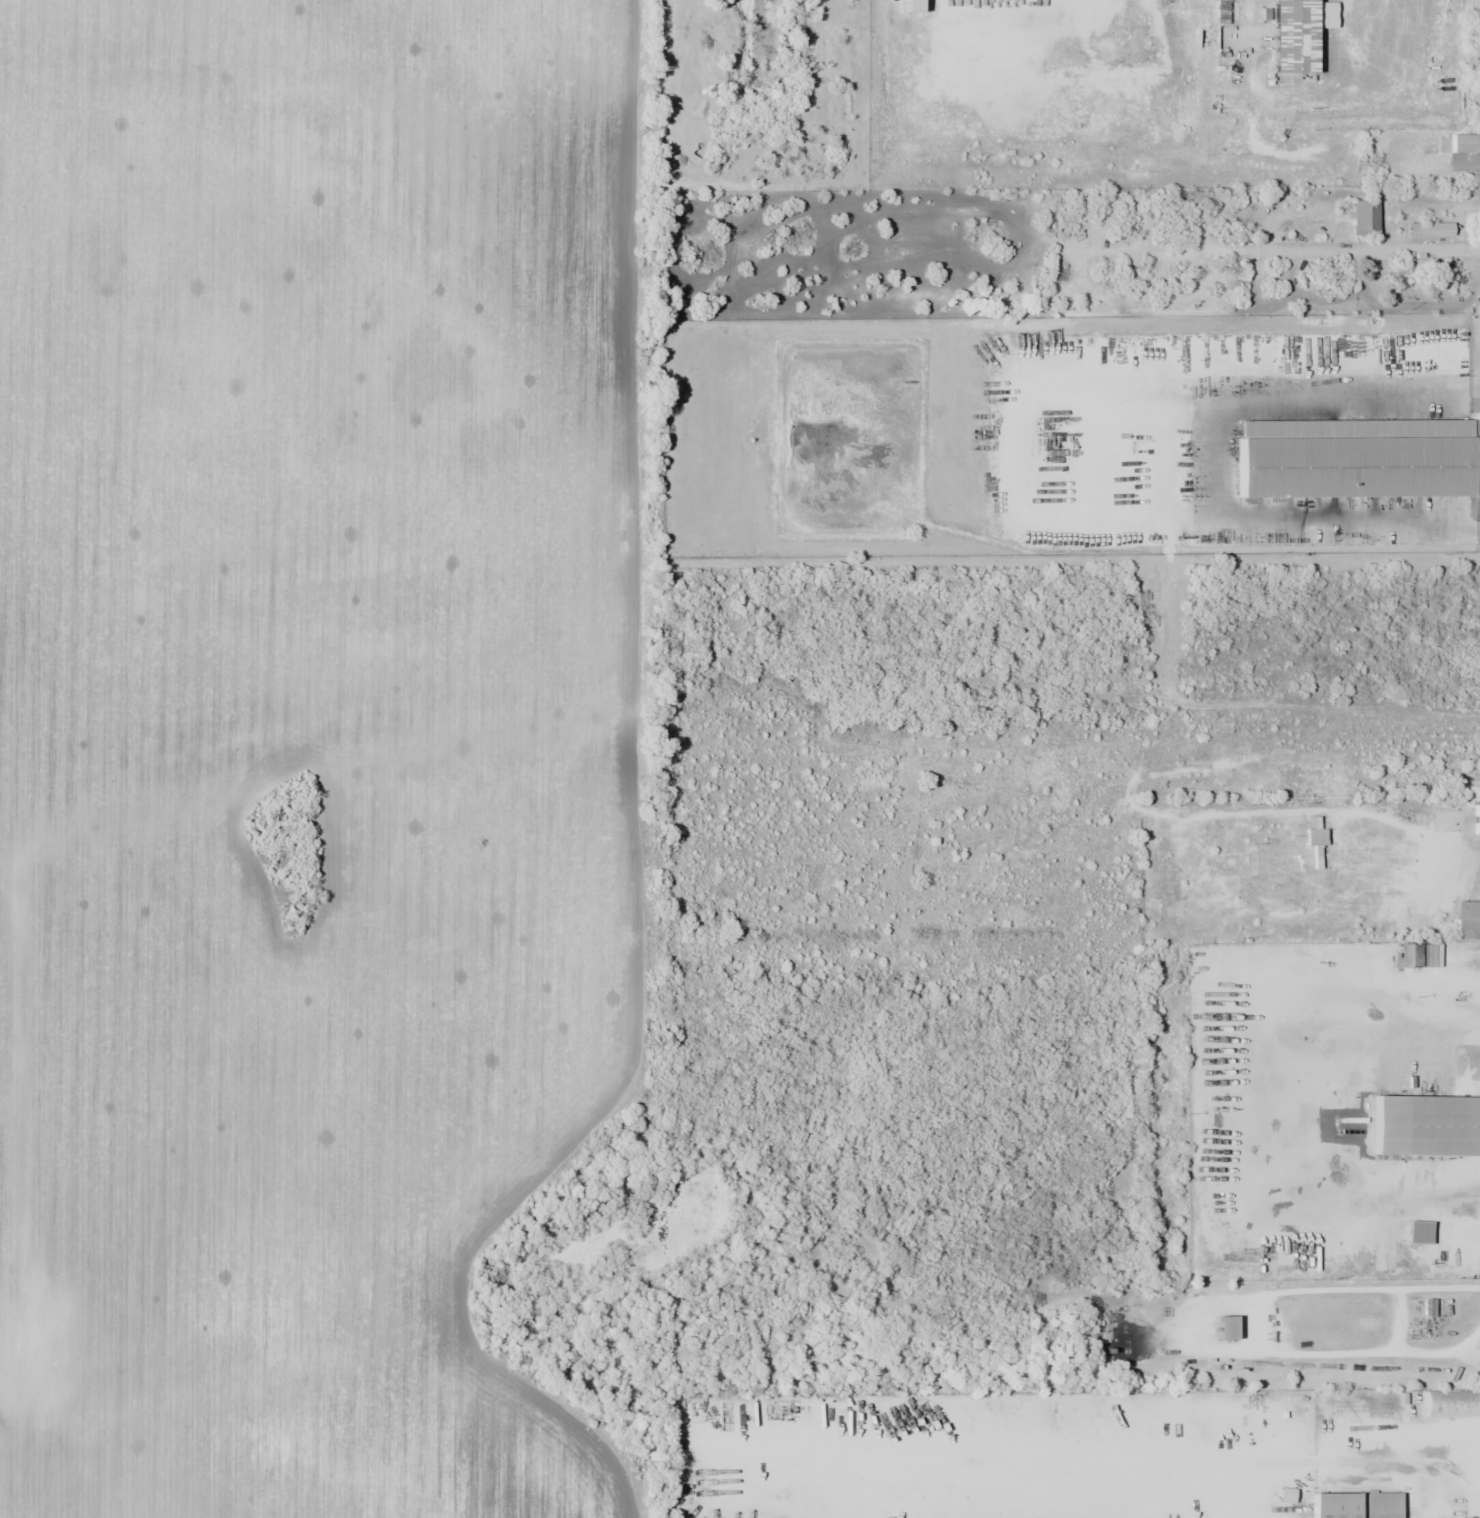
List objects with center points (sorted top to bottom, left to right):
building: (1293, 36)
building: (915, 89)
building: (1465, 142)
building: (1365, 217)
building: (1435, 228)
building: (1476, 819)
building: (1314, 837)
building: (1467, 921)
building: (1406, 955)
building: (1427, 1308)
building: (1224, 1328)
building: (1449, 1403)
building: (1355, 1505)

